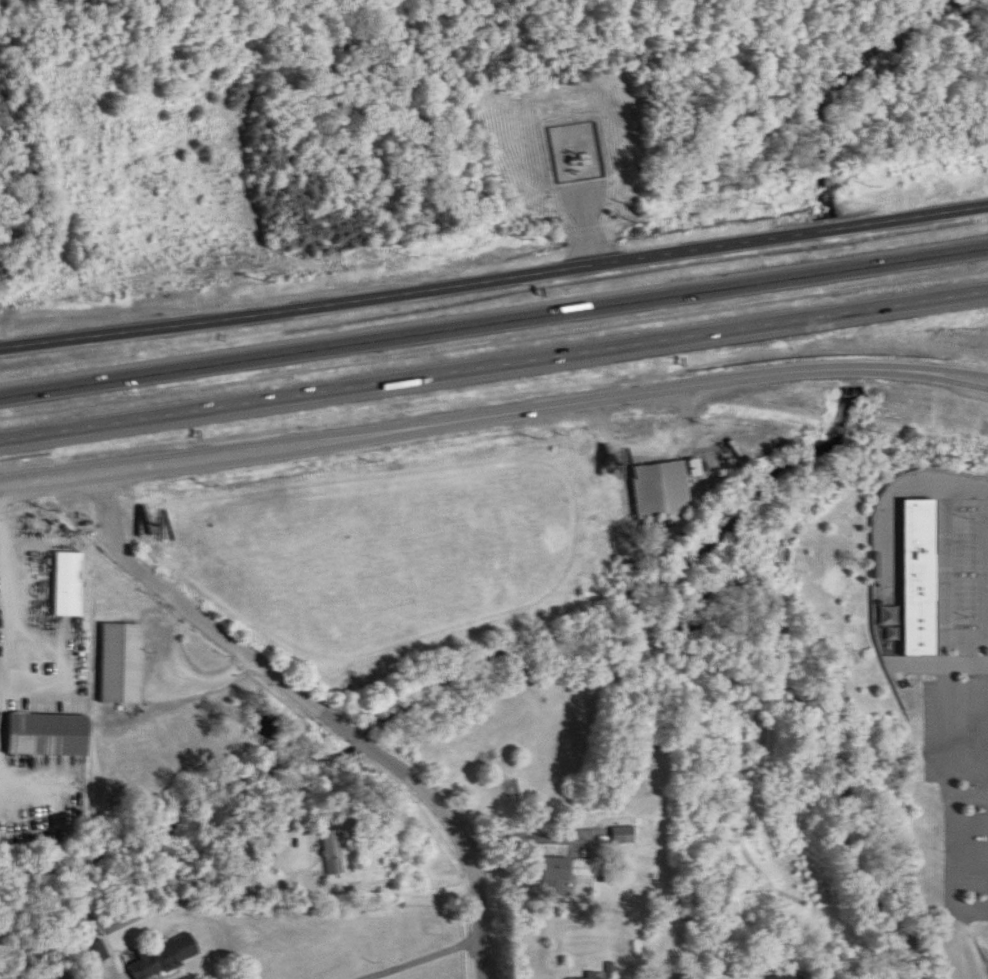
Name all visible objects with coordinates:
building: (591, 148)
road: (494, 266)
road: (493, 322)
road: (494, 368)
road: (493, 404)
road: (651, 431)
road: (907, 478)
building: (661, 491)
building: (911, 563)
road: (947, 577)
building: (69, 586)
road: (12, 603)
road: (981, 627)
road: (941, 653)
building: (123, 665)
road: (172, 685)
road: (317, 706)
building: (49, 737)
road: (970, 785)
road: (953, 790)
road: (516, 827)
building: (625, 837)
building: (333, 855)
building: (557, 878)
road: (372, 890)
building: (99, 953)
road: (417, 956)
building: (168, 957)
road: (104, 976)
building: (598, 976)
building: (674, 977)
building: (787, 978)

